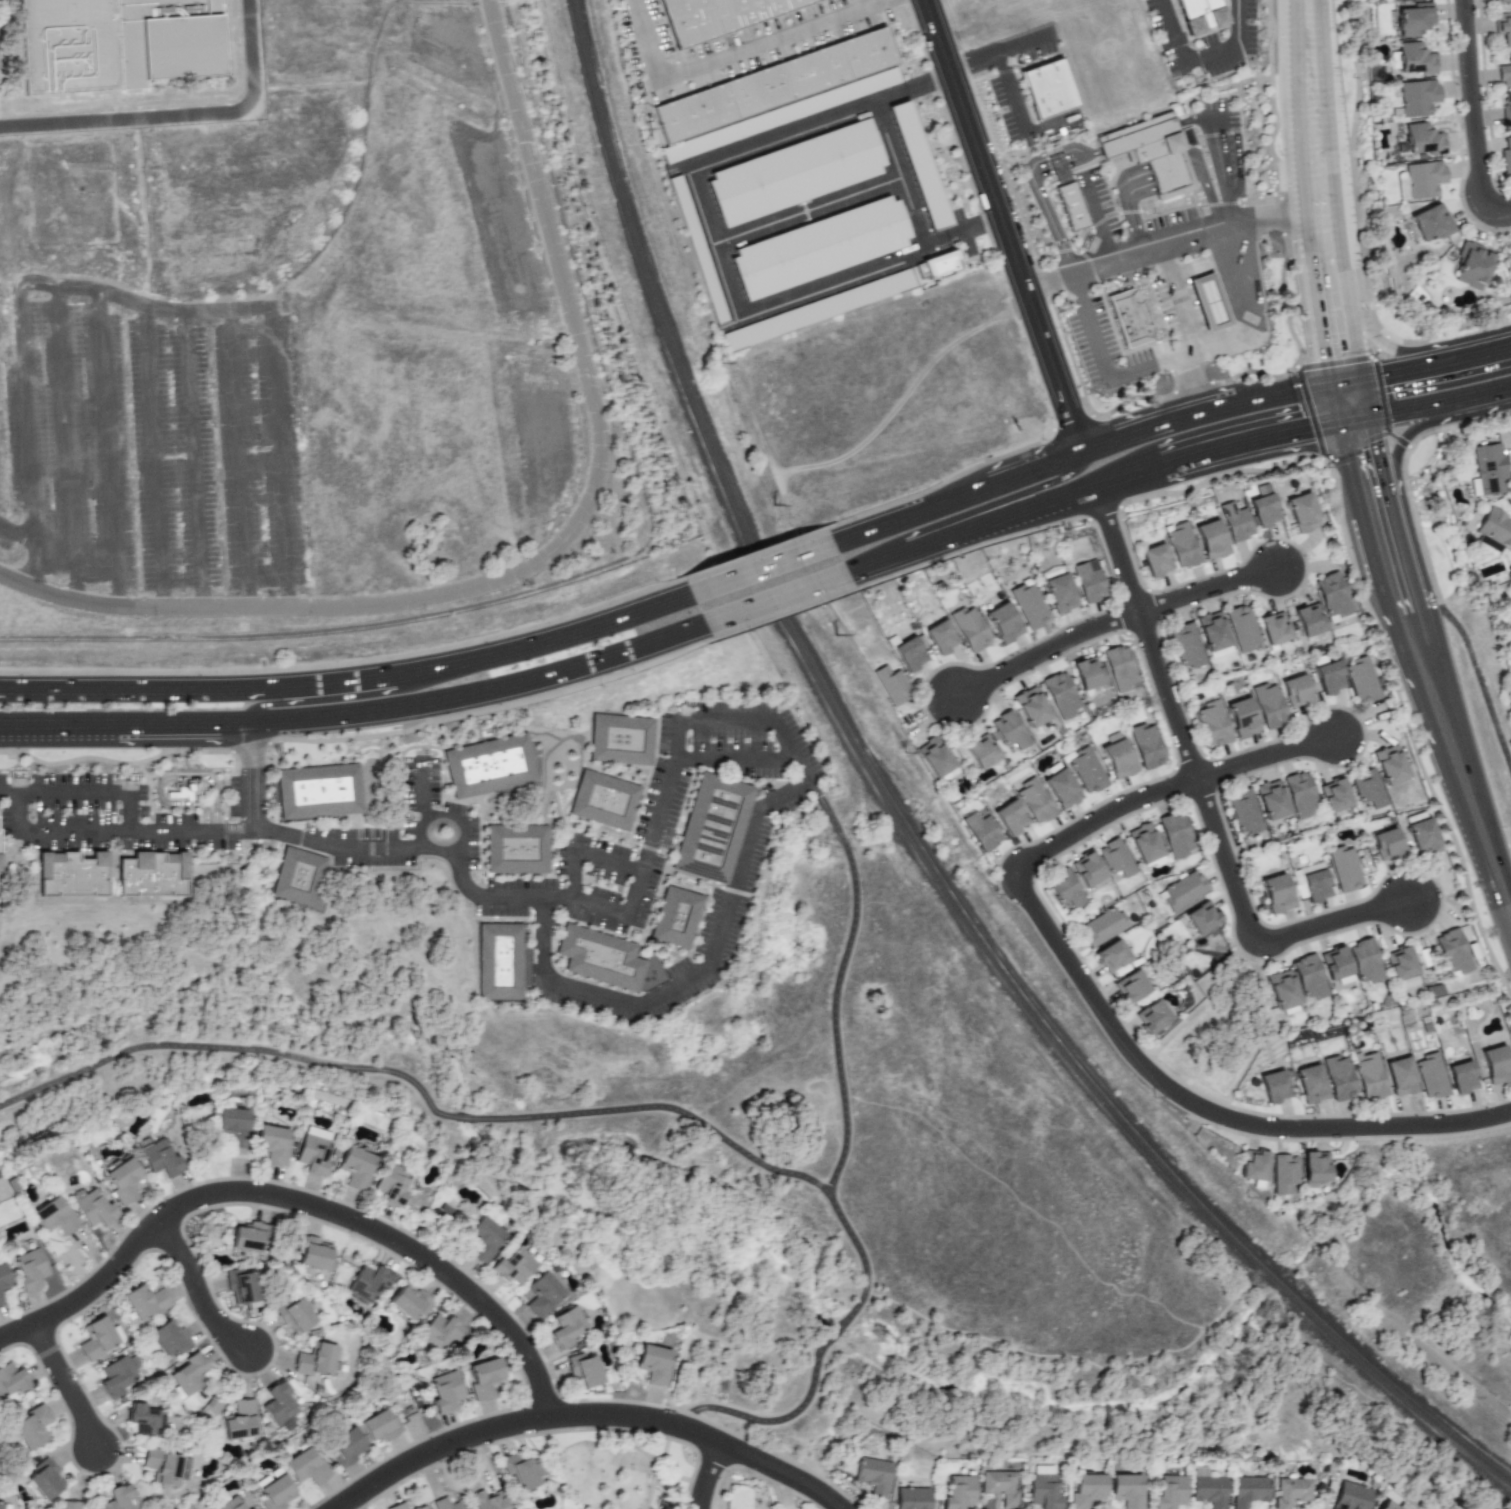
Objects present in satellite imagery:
building: (1501, 1)
road: (873, 6)
building: (720, 15)
building: (1202, 17)
building: (1414, 19)
building: (1503, 28)
road: (1024, 42)
building: (118, 44)
road: (1310, 50)
building: (1415, 58)
road: (1201, 59)
road: (721, 64)
building: (1505, 72)
street lamp: (1458, 76)
street lamp: (1350, 77)
building: (774, 84)
road: (1010, 85)
building: (1047, 87)
road: (913, 88)
building: (1417, 97)
street lamp: (982, 103)
building: (1506, 107)
road: (176, 113)
road: (1475, 115)
building: (783, 118)
building: (1422, 139)
road: (1122, 141)
road: (1303, 150)
building: (1152, 152)
street lamp: (1279, 154)
building: (1506, 158)
building: (922, 168)
road: (1159, 171)
road: (900, 174)
building: (799, 176)
building: (1423, 179)
park: (247, 181)
road: (1213, 195)
street lamp: (1461, 197)
road: (140, 202)
building: (1070, 206)
road: (811, 213)
street lamp: (981, 214)
road: (1097, 219)
road: (1131, 221)
building: (1431, 223)
road: (1005, 225)
road: (964, 232)
street lamp: (1510, 233)
road: (1364, 234)
road: (1504, 238)
road: (718, 246)
road: (1166, 249)
building: (822, 250)
building: (702, 252)
road: (1342, 259)
building: (1470, 265)
building: (946, 272)
building: (929, 279)
road: (1313, 293)
road: (1180, 300)
building: (1208, 302)
road: (20, 308)
building: (820, 314)
road: (1257, 319)
building: (1131, 322)
road: (1371, 326)
road: (1091, 329)
street lamp: (1063, 333)
street lamp: (1369, 353)
traffic signals: (1324, 355)
road: (1423, 365)
road: (1145, 369)
street lamp: (1285, 371)
traffic signals: (1387, 373)
road: (1192, 384)
road: (1343, 402)
traffic signals: (1307, 429)
street lamp: (1384, 429)
road: (67, 444)
road: (108, 448)
road: (1079, 452)
road: (154, 456)
road: (279, 456)
traffic signals: (1358, 457)
road: (239, 458)
road: (194, 459)
road: (1173, 462)
street lamp: (1328, 466)
building: (1488, 469)
road: (1400, 500)
road: (988, 503)
building: (1264, 510)
building: (1302, 512)
road: (1371, 520)
building: (1235, 521)
building: (1495, 528)
road: (17, 536)
building: (1211, 539)
building: (1182, 544)
road: (560, 550)
road: (756, 560)
building: (1156, 560)
building: (1089, 582)
road: (1210, 589)
building: (1060, 593)
building: (1332, 596)
road: (774, 600)
building: (1029, 604)
building: (1308, 619)
building: (1003, 622)
building: (970, 628)
building: (1242, 628)
building: (1273, 628)
road: (1148, 633)
building: (1213, 635)
building: (941, 636)
building: (1186, 645)
building: (910, 652)
road: (1048, 652)
road: (1476, 664)
building: (1120, 668)
building: (1087, 672)
road: (348, 675)
building: (1329, 677)
building: (1362, 679)
building: (892, 684)
street lamp: (1390, 690)
building: (1296, 691)
building: (1060, 694)
road: (331, 695)
road: (482, 700)
building: (1269, 705)
building: (1030, 706)
building: (1242, 717)
building: (1213, 722)
building: (1009, 729)
road: (126, 736)
building: (624, 743)
building: (1147, 745)
building: (981, 751)
road: (1269, 756)
building: (1118, 757)
building: (936, 758)
road: (737, 764)
building: (1389, 764)
building: (494, 769)
road: (1458, 769)
building: (1087, 770)
road: (252, 779)
building: (1061, 788)
building: (1368, 788)
road: (425, 792)
road: (92, 794)
building: (1300, 794)
building: (322, 795)
building: (1335, 795)
building: (1271, 799)
building: (1035, 800)
building: (606, 805)
building: (1244, 811)
road: (443, 815)
building: (1010, 817)
railway: (905, 828)
road: (108, 830)
building: (981, 830)
building: (712, 831)
building: (1175, 834)
building: (1422, 836)
building: (0, 843)
building: (1144, 843)
building: (1386, 843)
building: (518, 853)
building: (1115, 859)
road: (589, 860)
road: (981, 862)
building: (1344, 868)
building: (1087, 869)
street lamp: (1461, 876)
building: (69, 877)
building: (149, 878)
building: (300, 881)
building: (1315, 882)
building: (1064, 887)
building: (1183, 890)
building: (1276, 893)
building: (1201, 917)
building: (677, 922)
building: (1102, 926)
road: (723, 928)
road: (1256, 935)
building: (1452, 952)
building: (1111, 956)
building: (602, 959)
building: (1365, 961)
building: (1400, 963)
building: (504, 965)
building: (1335, 965)
building: (1308, 976)
road: (835, 984)
building: (1130, 986)
building: (1281, 991)
road: (1206, 1009)
building: (1152, 1016)
road: (1127, 1046)
road: (232, 1048)
building: (1496, 1064)
building: (1369, 1075)
building: (1430, 1075)
building: (1400, 1076)
building: (1461, 1076)
building: (1339, 1077)
building: (1310, 1084)
building: (1274, 1086)
road: (463, 1118)
building: (233, 1124)
road: (728, 1141)
building: (273, 1143)
building: (313, 1151)
building: (160, 1158)
building: (1254, 1165)
building: (1315, 1166)
building: (356, 1167)
road: (1220, 1167)
building: (1284, 1173)
building: (123, 1180)
building: (392, 1184)
road: (296, 1202)
building: (95, 1209)
building: (53, 1216)
building: (247, 1237)
building: (484, 1238)
building: (315, 1253)
building: (513, 1265)
building: (30, 1269)
building: (4, 1277)
building: (367, 1283)
building: (241, 1285)
road: (199, 1293)
building: (542, 1294)
building: (1, 1300)
building: (145, 1301)
building: (408, 1302)
building: (294, 1315)
building: (567, 1326)
building: (439, 1331)
road: (832, 1336)
building: (97, 1338)
building: (169, 1339)
road: (1421, 1346)
building: (315, 1360)
building: (654, 1364)
building: (584, 1370)
building: (187, 1375)
building: (116, 1376)
building: (484, 1378)
building: (12, 1379)
road: (68, 1387)
road: (708, 1389)
building: (444, 1391)
park: (742, 1400)
building: (278, 1403)
road: (587, 1414)
building: (145, 1419)
building: (240, 1420)
road: (772, 1421)
building: (32, 1426)
building: (378, 1426)
building: (345, 1447)
building: (162, 1466)
building: (305, 1466)
park: (620, 1469)
building: (1038, 1469)
building: (522, 1470)
building: (872, 1475)
road: (706, 1476)
building: (46, 1479)
building: (998, 1486)
building: (1085, 1489)
building: (1125, 1490)
building: (1248, 1490)
building: (1041, 1491)
building: (1169, 1491)
building: (1208, 1491)
building: (1292, 1491)
building: (957, 1492)
building: (276, 1493)
building: (909, 1496)
building: (1351, 1496)
building: (117, 1497)
building: (487, 1500)
building: (70, 1504)
building: (230, 1504)
building: (448, 1504)
building: (1386, 1505)
building: (4, 1506)
building: (397, 1506)
building: (420, 1507)
building: (249, 1508)

